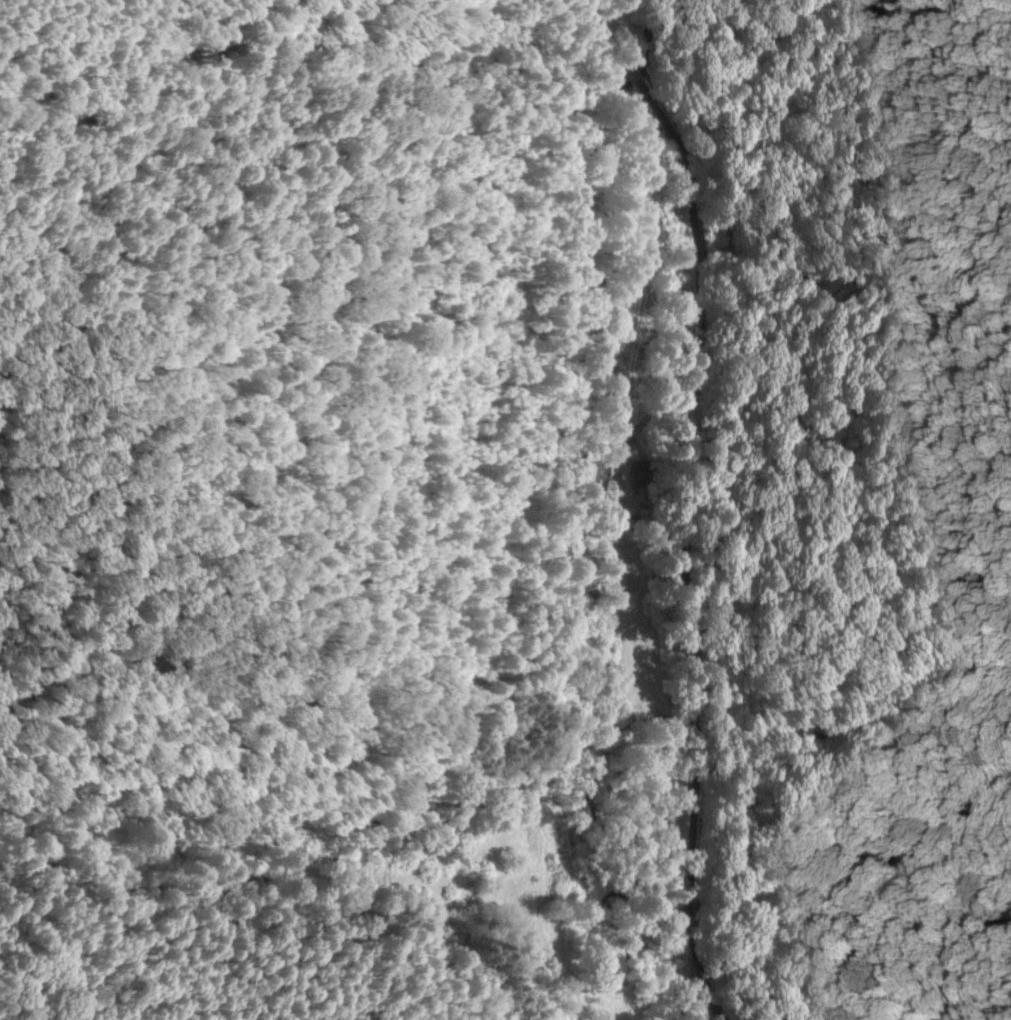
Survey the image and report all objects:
building: (586, 469)
road: (699, 502)
road: (339, 746)

